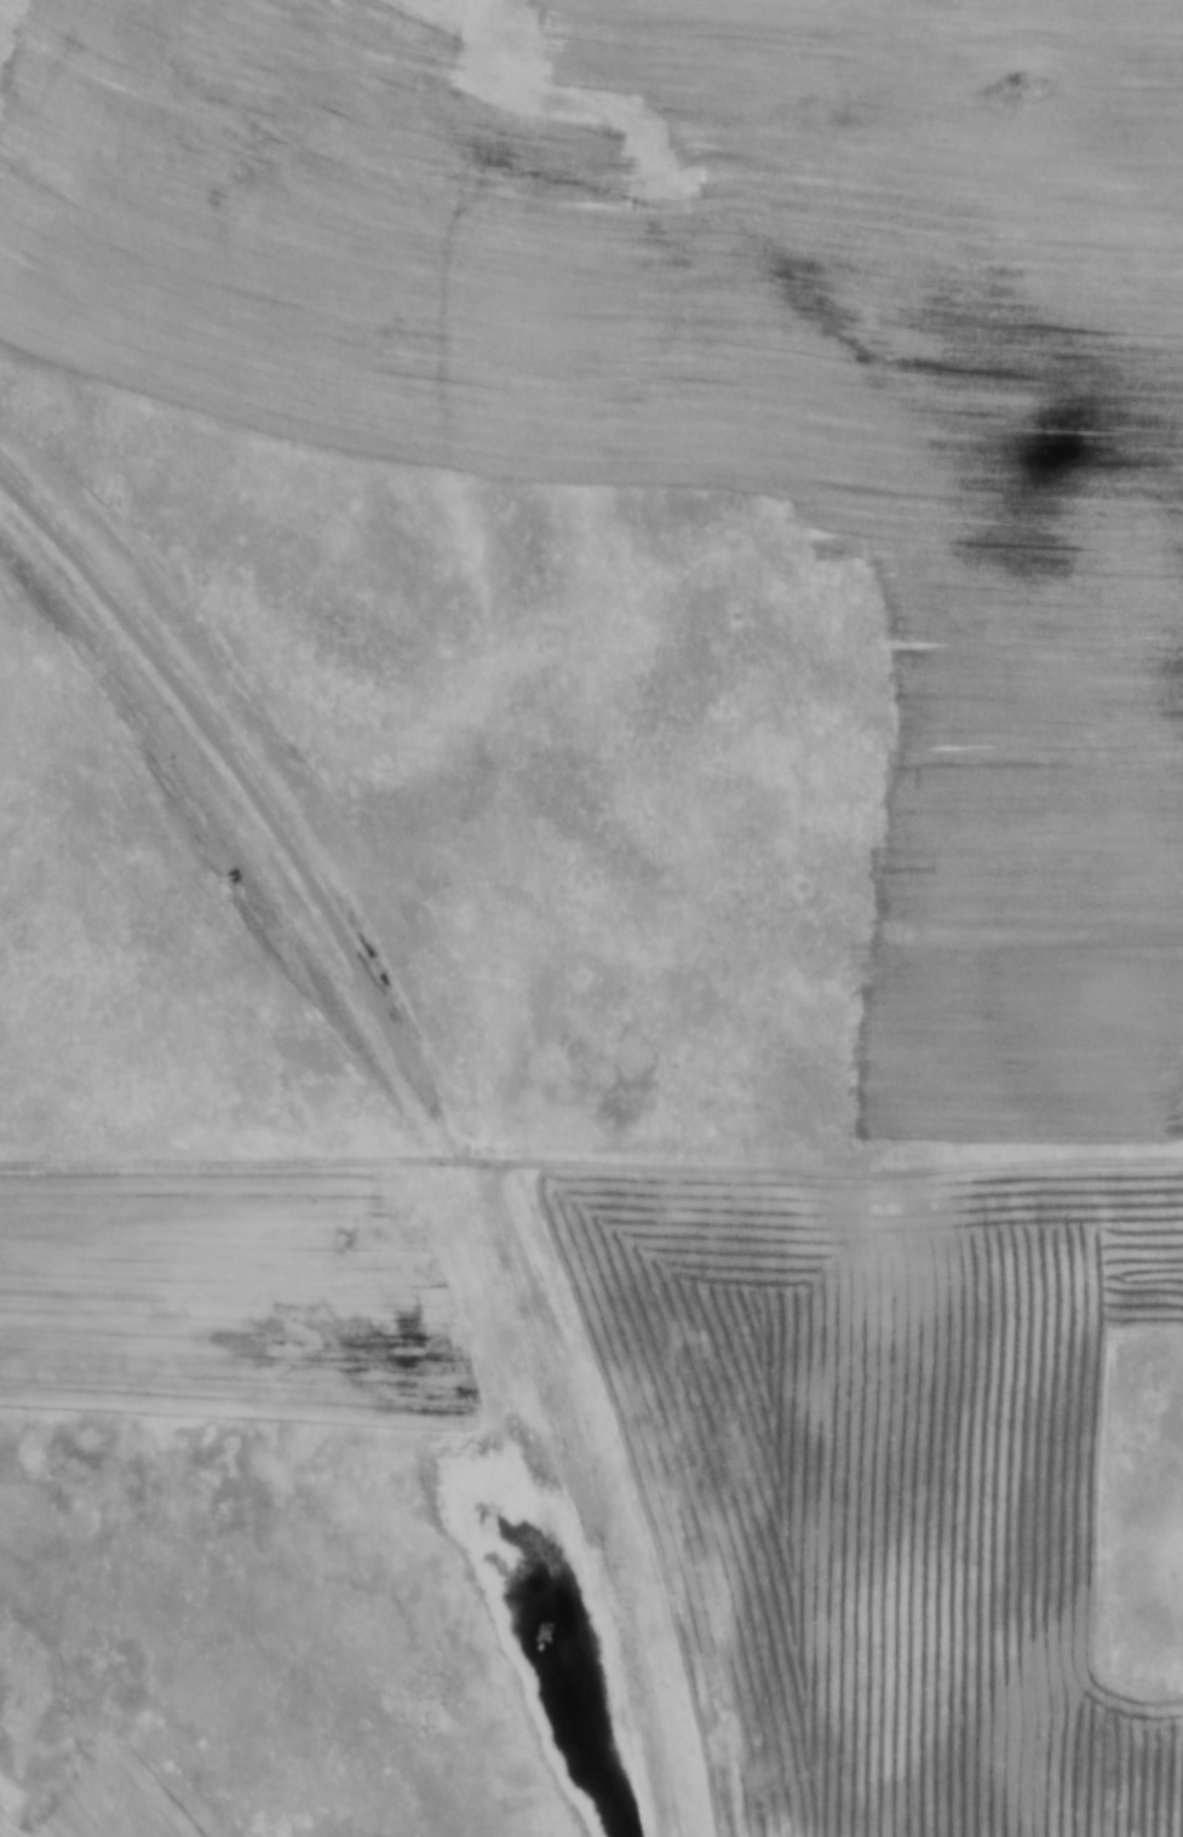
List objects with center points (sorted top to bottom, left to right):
road: (228, 1164)
road: (820, 1171)

